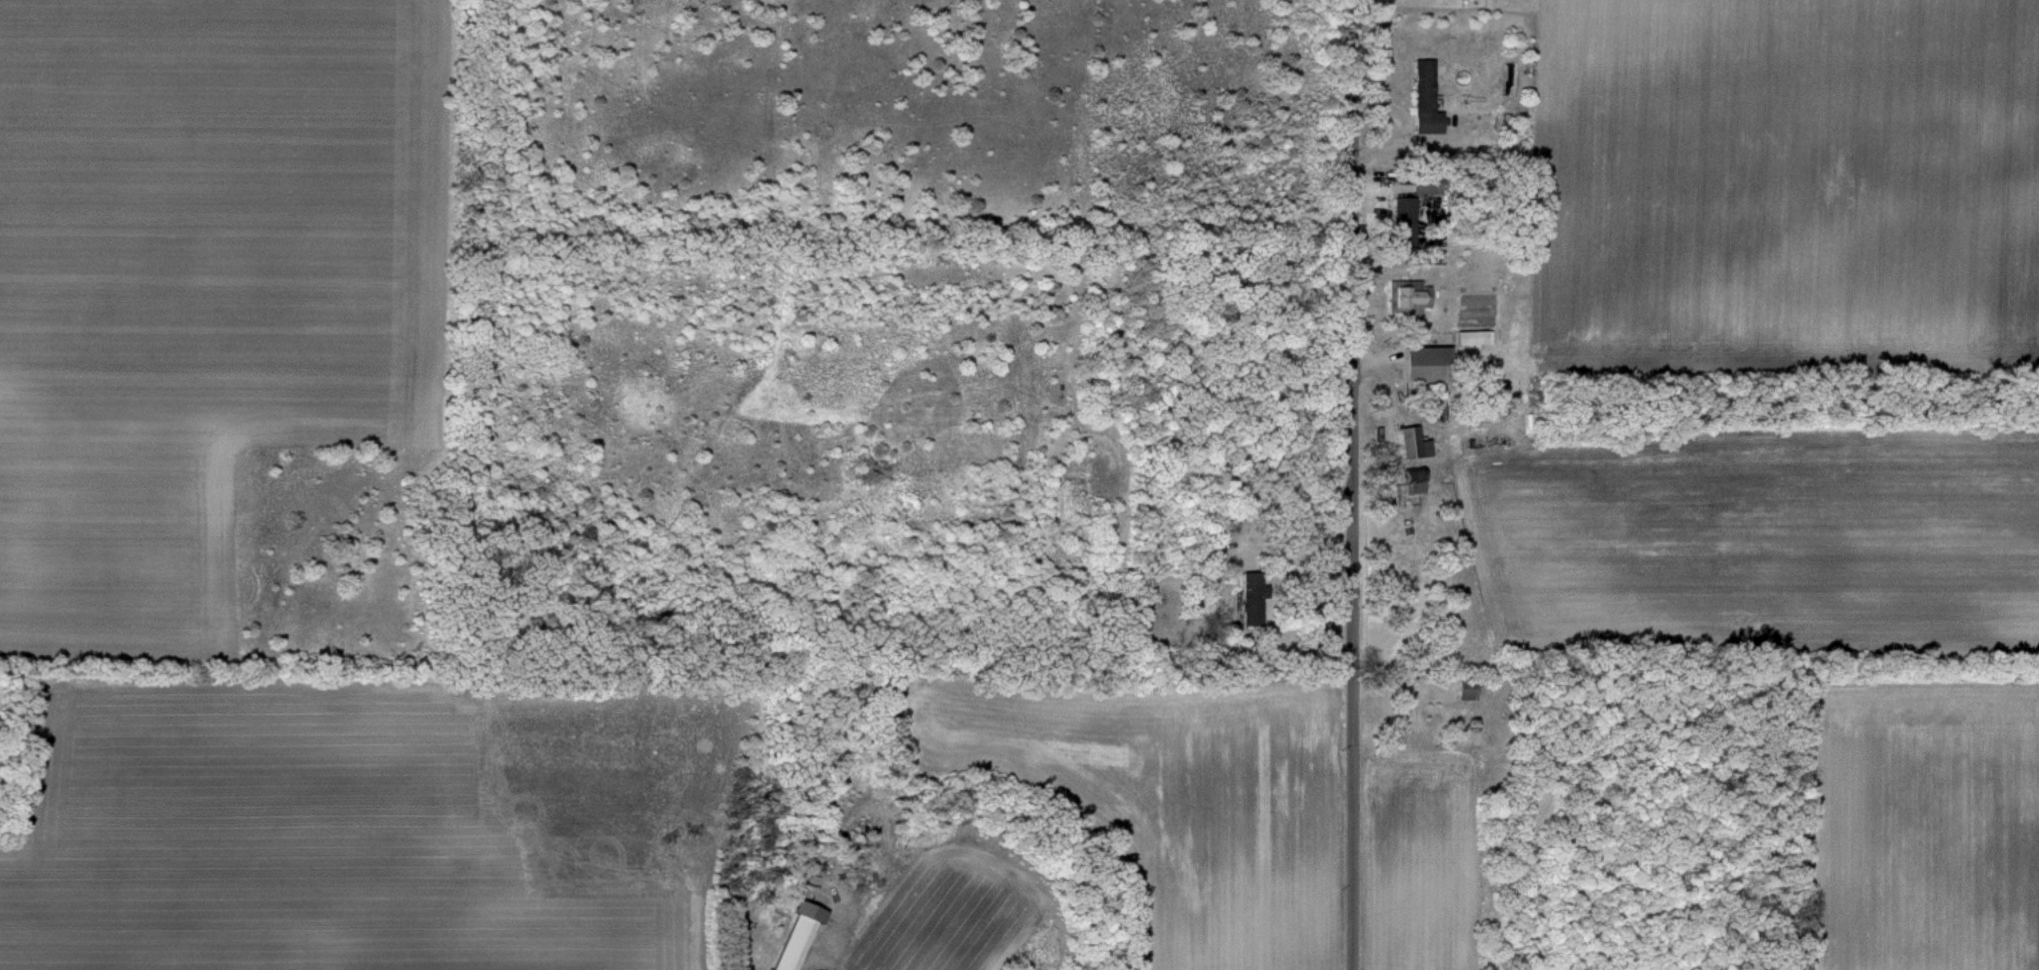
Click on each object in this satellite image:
building: (1427, 99)
building: (1406, 221)
building: (1410, 301)
building: (1473, 338)
building: (1429, 365)
building: (1415, 443)
building: (1416, 482)
road: (1358, 485)
building: (800, 939)

